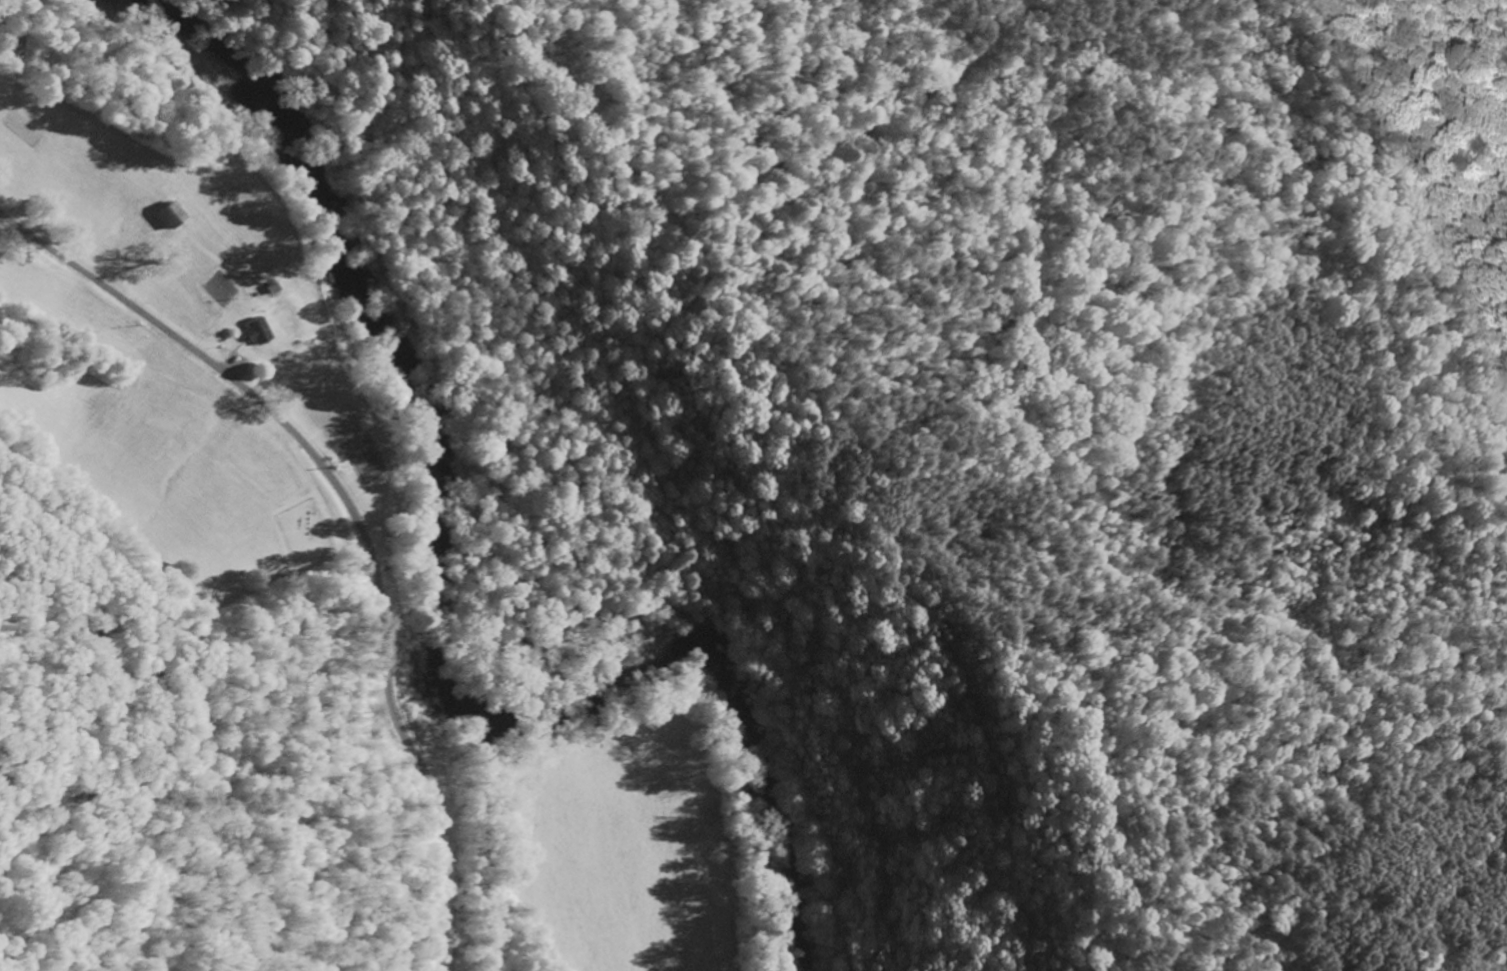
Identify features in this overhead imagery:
building: (256, 330)
road: (351, 514)

